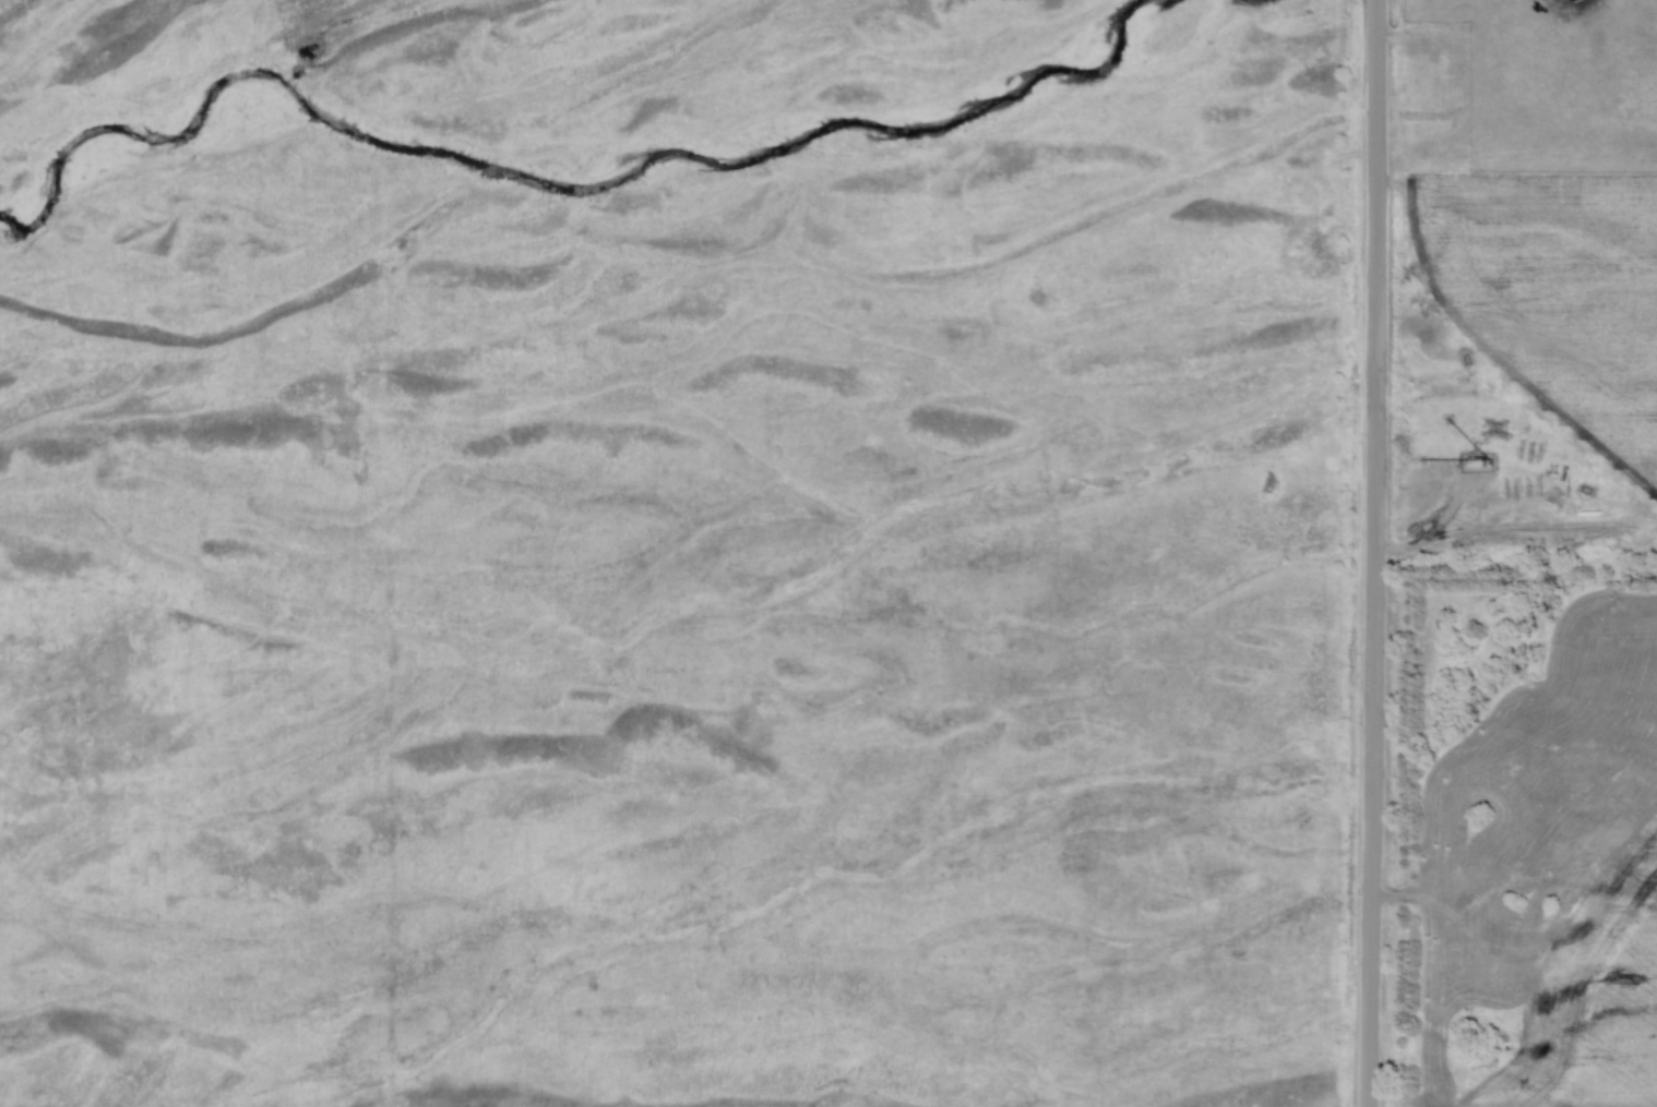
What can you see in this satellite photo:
building: (1540, 504)
road: (1432, 531)
road: (1375, 553)

